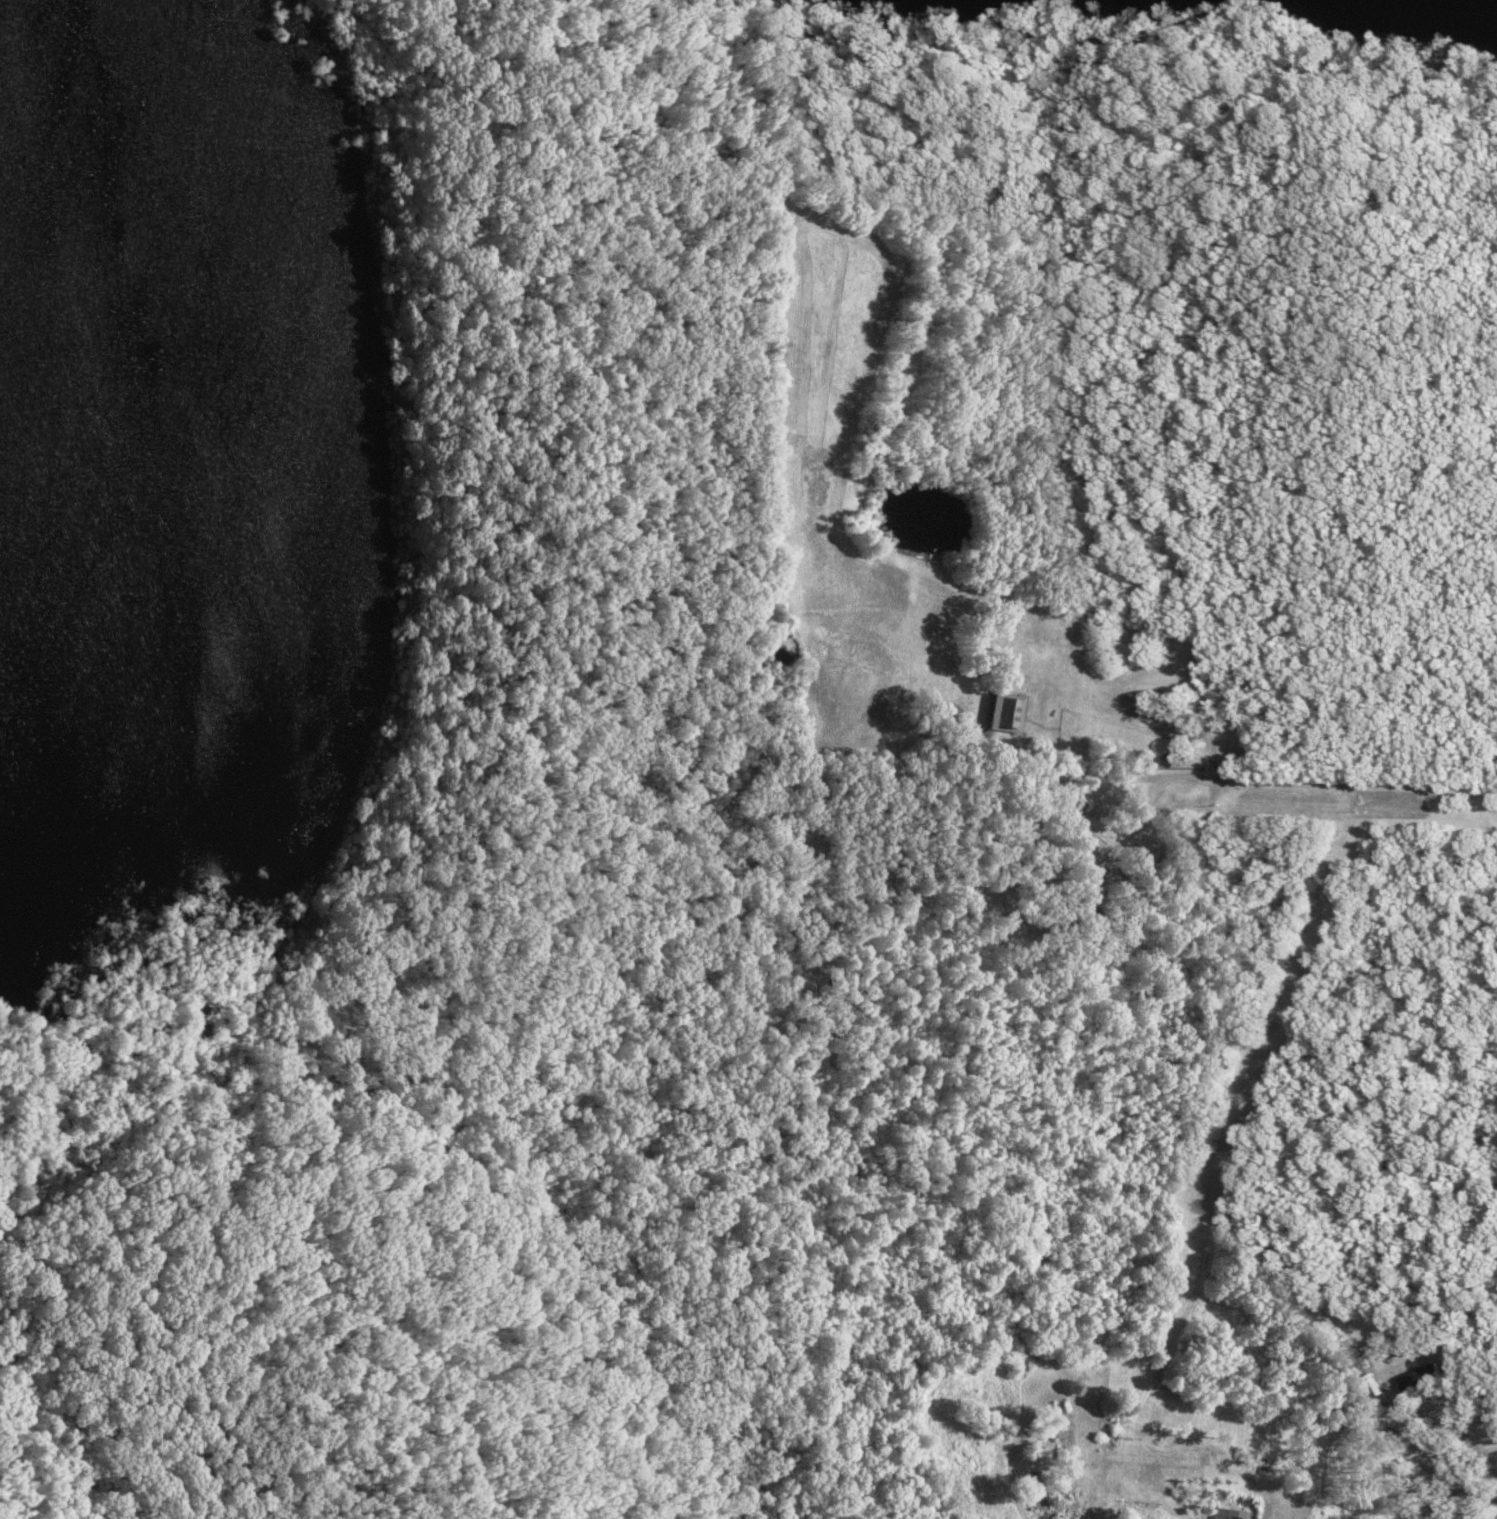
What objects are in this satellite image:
building: (1006, 713)
road: (1334, 792)
road: (1133, 991)
building: (1424, 1376)
building: (1064, 1423)
road: (1009, 1463)
road: (1436, 1472)
building: (1056, 1499)
building: (1228, 1513)
building: (1130, 1515)

